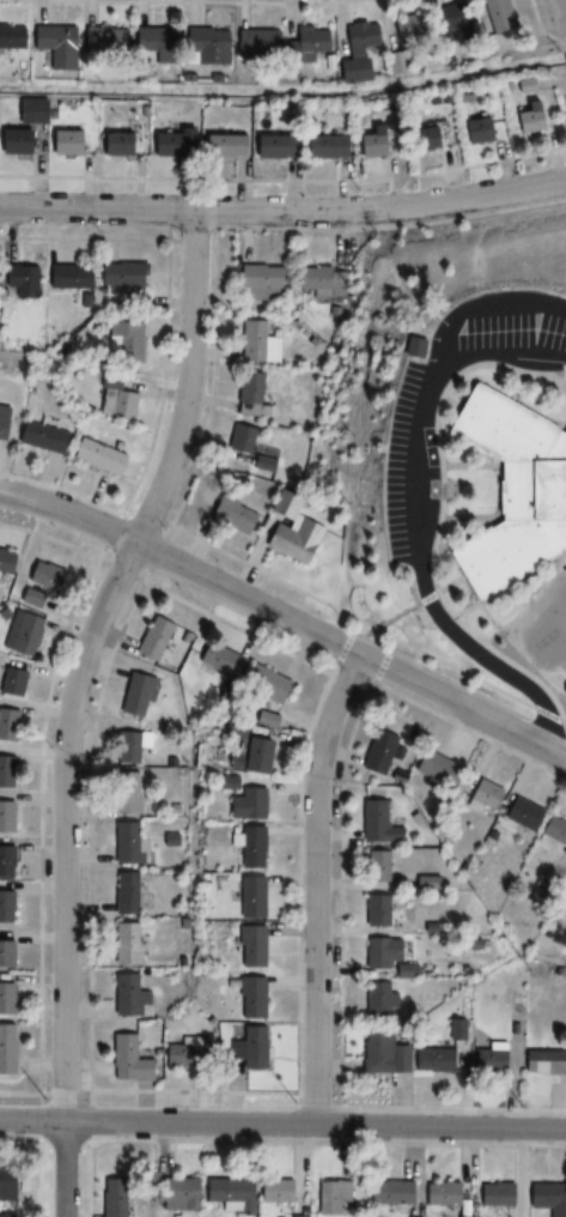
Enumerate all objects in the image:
road: (565, 2)
building: (498, 16)
building: (451, 22)
building: (407, 29)
building: (11, 38)
building: (102, 41)
building: (153, 41)
building: (255, 41)
building: (305, 43)
building: (53, 47)
building: (205, 47)
building: (355, 52)
building: (395, 63)
building: (525, 119)
building: (473, 131)
building: (14, 141)
building: (373, 141)
building: (63, 143)
building: (170, 143)
building: (115, 144)
building: (220, 146)
building: (272, 146)
building: (323, 147)
road: (284, 213)
building: (121, 273)
building: (67, 277)
building: (19, 279)
building: (322, 281)
building: (258, 283)
road: (483, 303)
building: (124, 341)
building: (256, 343)
road: (494, 353)
building: (249, 396)
building: (115, 404)
building: (1, 418)
parking lot: (397, 426)
building: (37, 437)
building: (239, 444)
building: (95, 458)
building: (264, 466)
road: (408, 471)
road: (431, 473)
building: (510, 492)
building: (231, 516)
building: (288, 531)
building: (4, 561)
building: (42, 576)
building: (30, 598)
road: (286, 618)
building: (20, 634)
building: (152, 638)
road: (485, 660)
building: (218, 662)
building: (11, 682)
building: (263, 684)
building: (136, 695)
road: (75, 703)
building: (7, 726)
building: (130, 746)
building: (377, 752)
building: (251, 756)
building: (436, 769)
building: (6, 773)
building: (127, 793)
building: (482, 794)
building: (245, 805)
building: (519, 815)
building: (5, 818)
building: (376, 824)
building: (553, 831)
building: (127, 844)
building: (249, 848)
building: (5, 862)
building: (377, 867)
road: (317, 886)
building: (123, 894)
building: (249, 898)
building: (5, 907)
building: (376, 912)
building: (126, 944)
building: (249, 947)
building: (378, 953)
building: (5, 955)
building: (128, 995)
building: (5, 999)
building: (249, 999)
building: (376, 1000)
building: (248, 1048)
building: (6, 1049)
building: (184, 1054)
building: (379, 1054)
building: (487, 1059)
building: (124, 1060)
building: (431, 1061)
building: (542, 1062)
road: (282, 1124)
building: (5, 1185)
building: (272, 1192)
building: (175, 1194)
building: (388, 1194)
building: (226, 1195)
building: (439, 1195)
building: (493, 1195)
building: (110, 1198)
building: (330, 1198)
building: (547, 1199)
building: (6, 1216)

